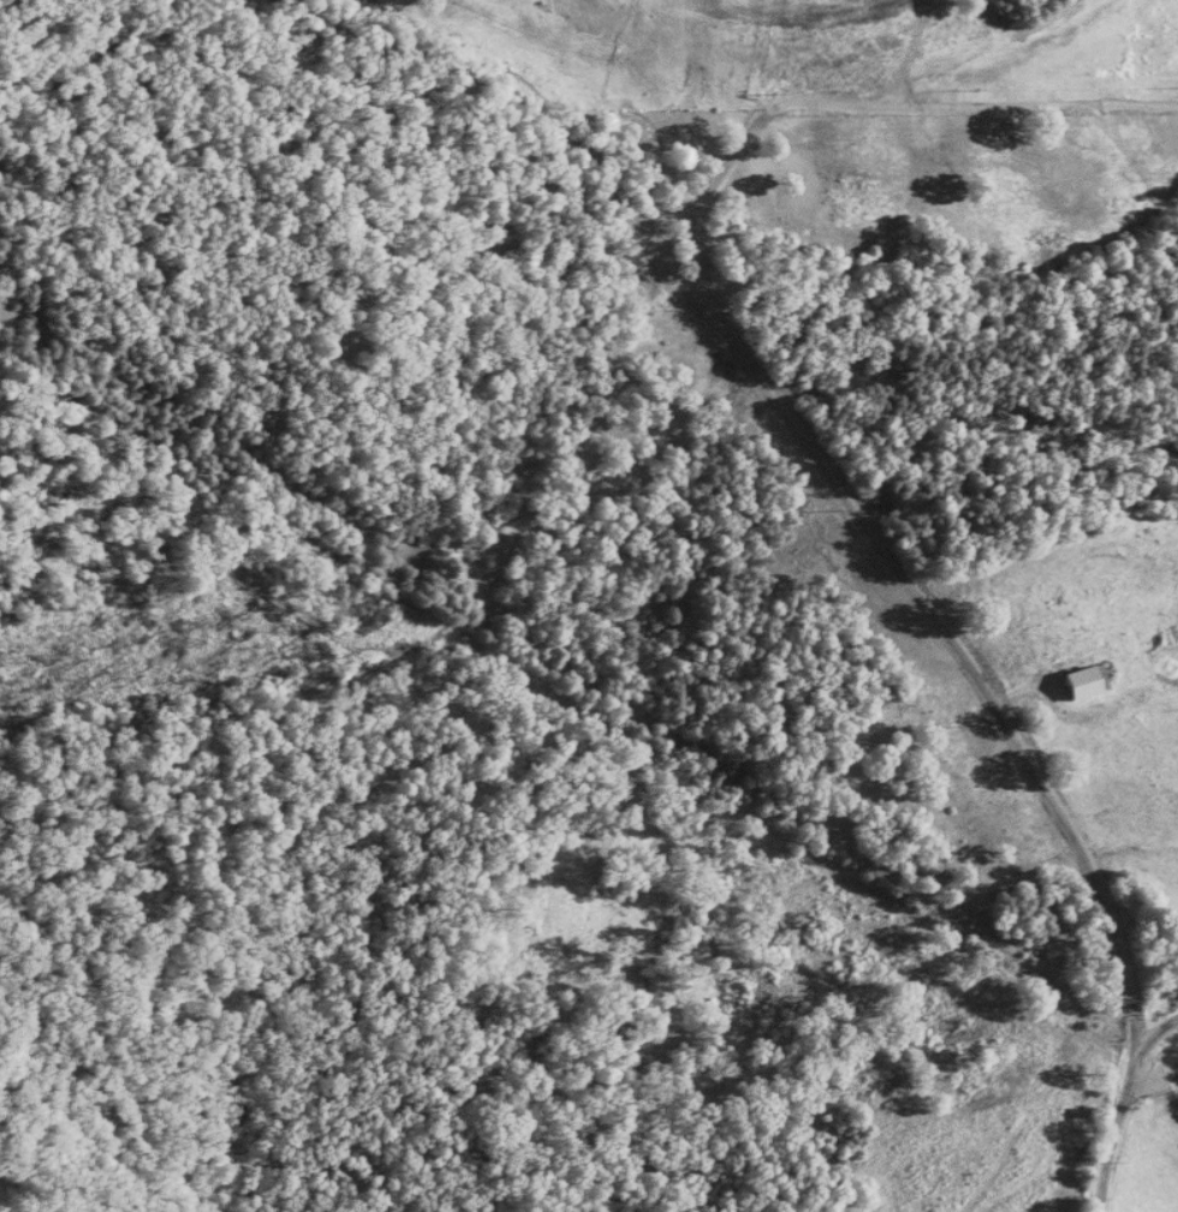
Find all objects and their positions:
road: (775, 402)
building: (1083, 680)
road: (1124, 1104)

